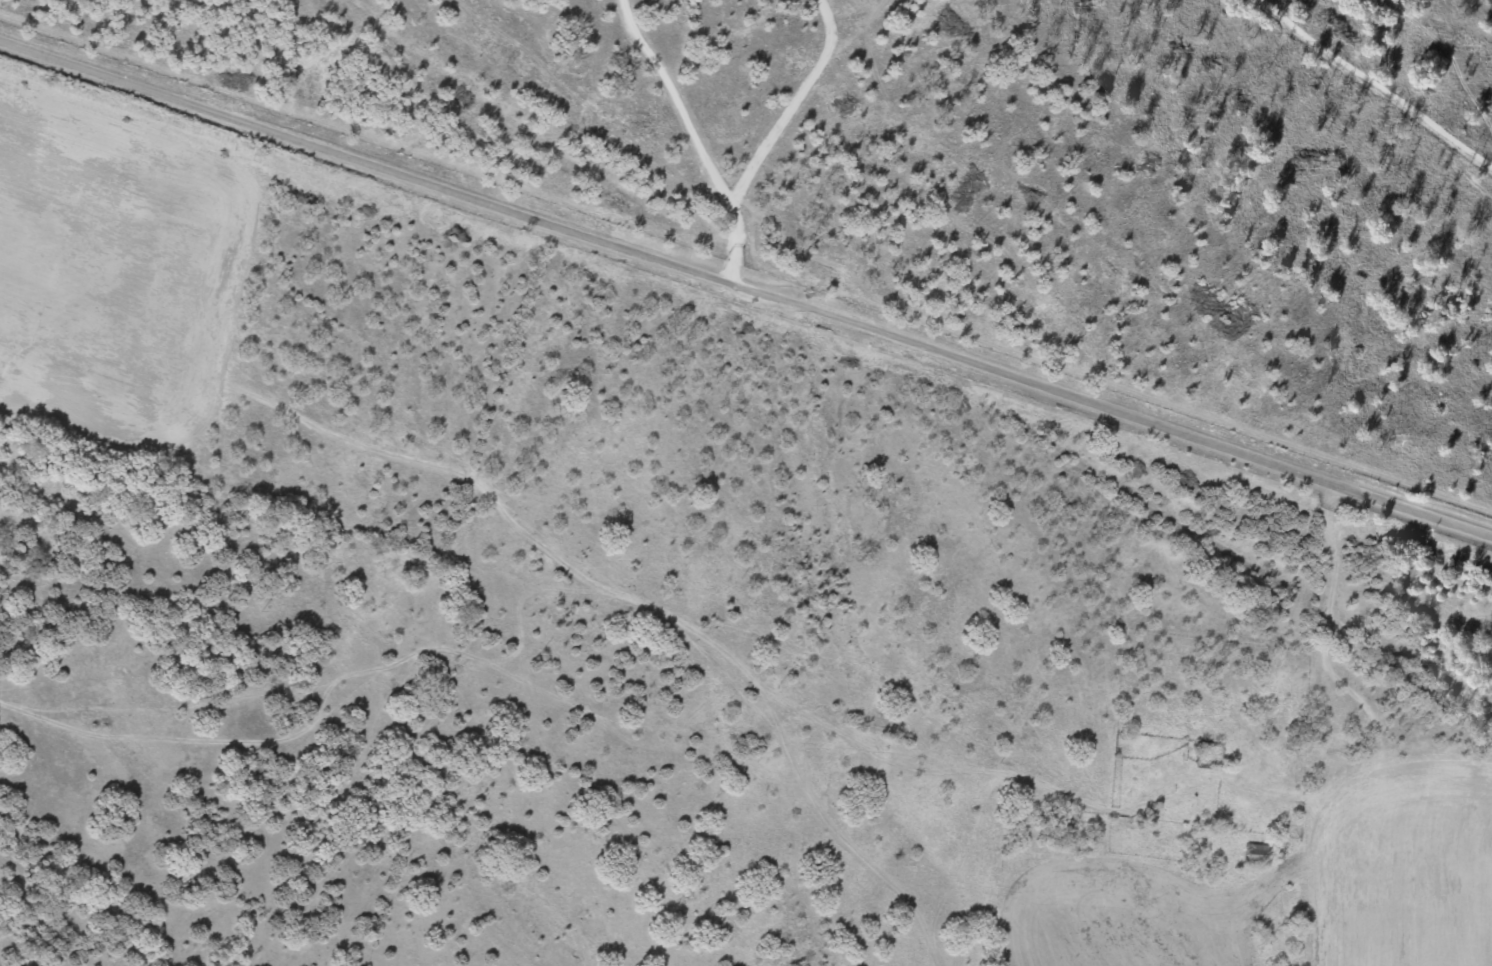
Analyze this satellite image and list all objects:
road: (746, 287)
railway: (912, 340)
road: (1322, 624)
building: (1256, 852)

